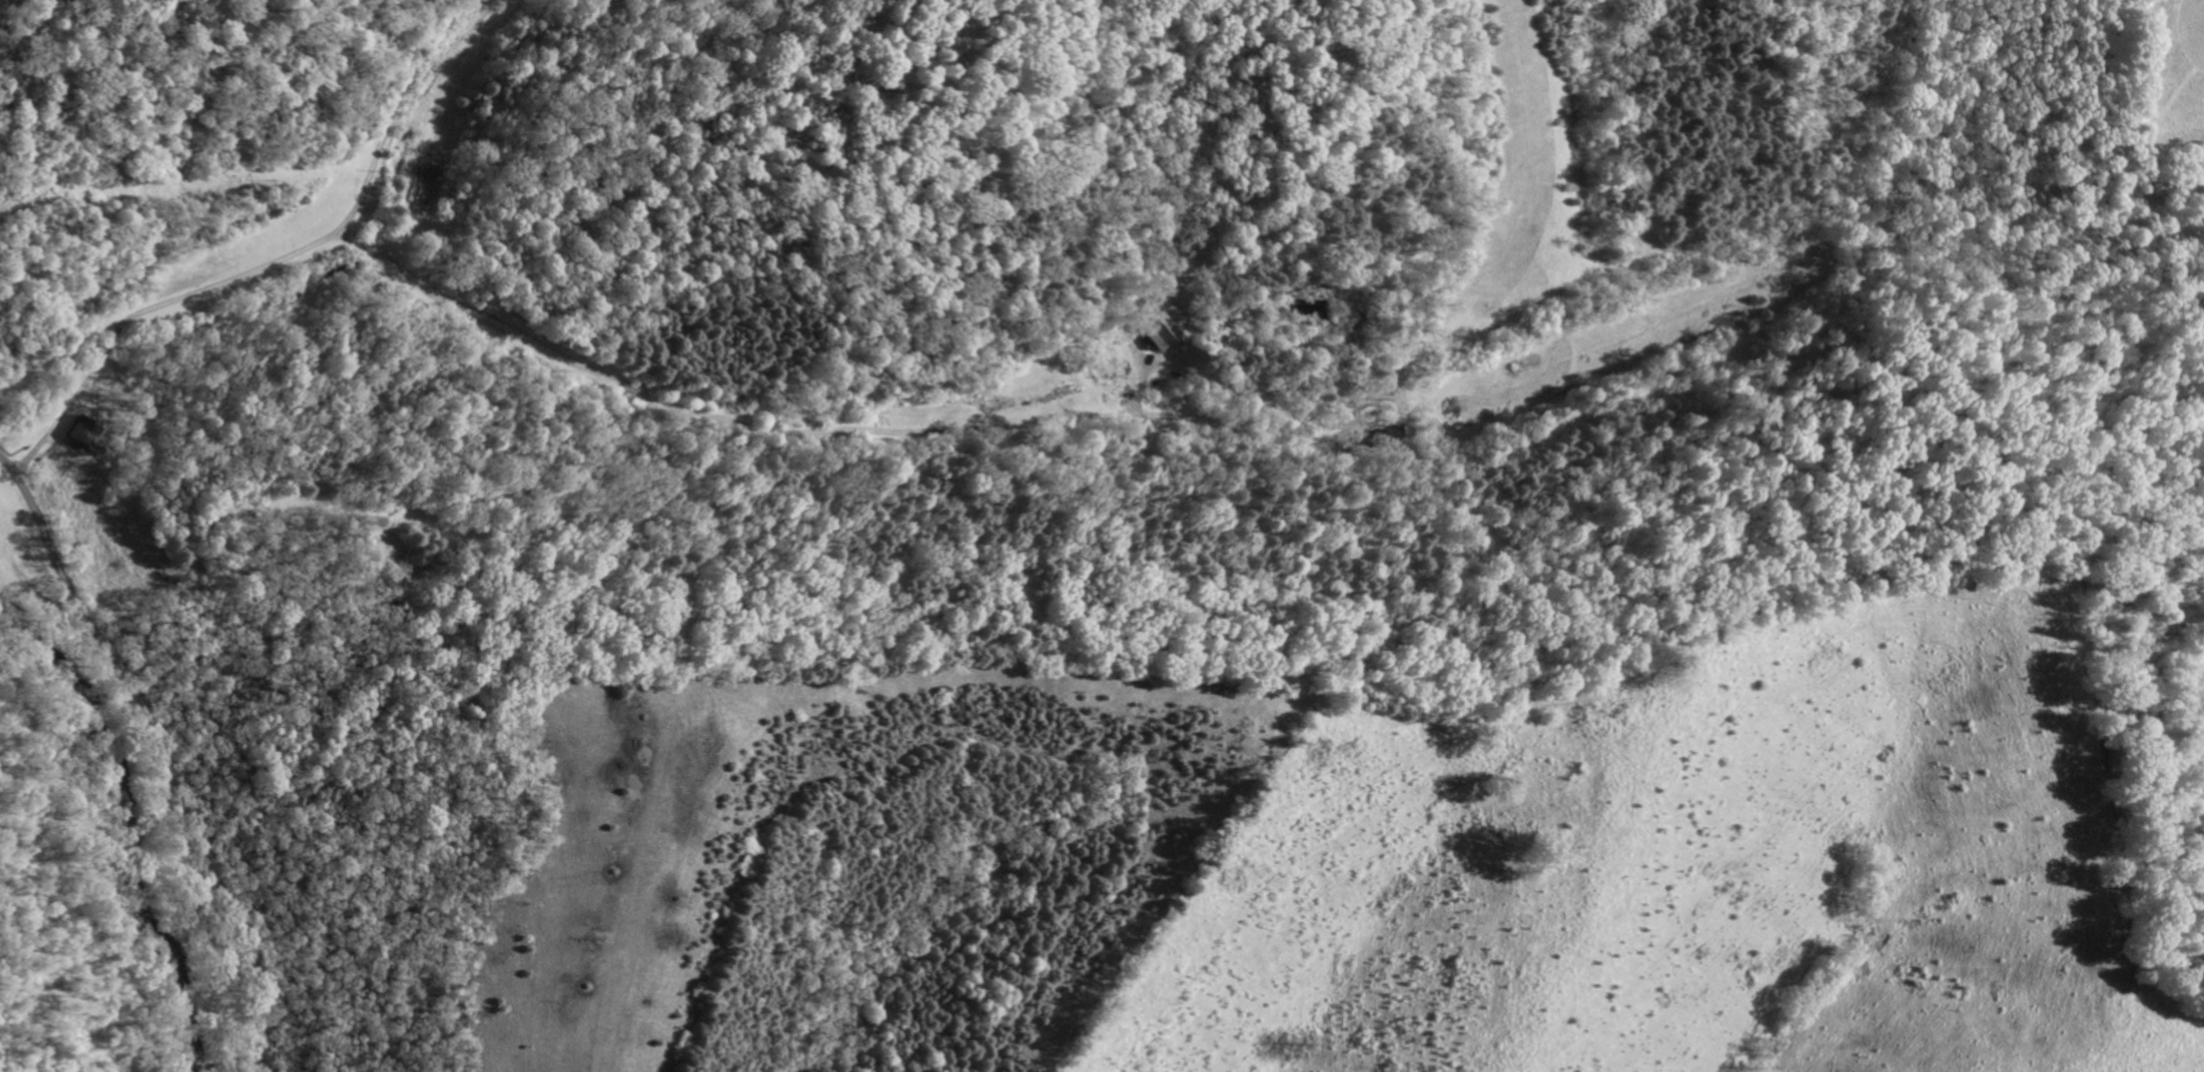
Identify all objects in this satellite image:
road: (389, 118)
road: (290, 254)
building: (1158, 331)
building: (86, 431)
road: (91, 626)
road: (242, 930)

